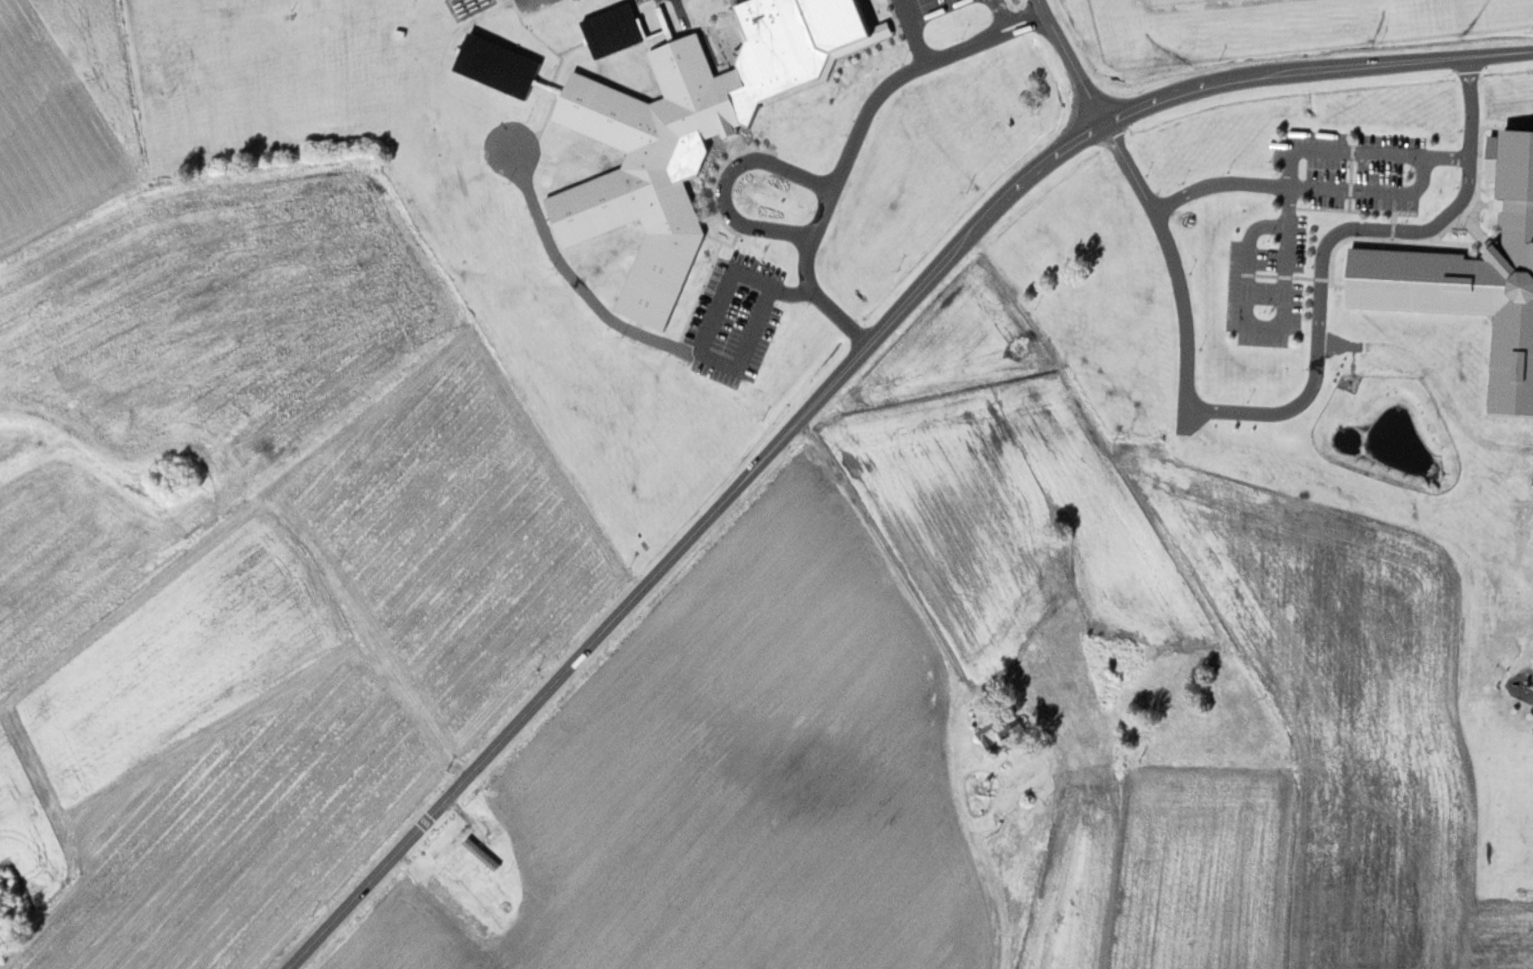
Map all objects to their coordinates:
road: (996, 9)
road: (909, 30)
road: (988, 30)
building: (606, 35)
road: (1068, 61)
building: (494, 66)
building: (687, 131)
road: (837, 166)
road: (721, 178)
road: (1314, 185)
road: (1327, 234)
road: (1168, 257)
road: (700, 330)
road: (838, 377)
road: (891, 551)
building: (1064, 708)
building: (989, 737)
building: (458, 859)

